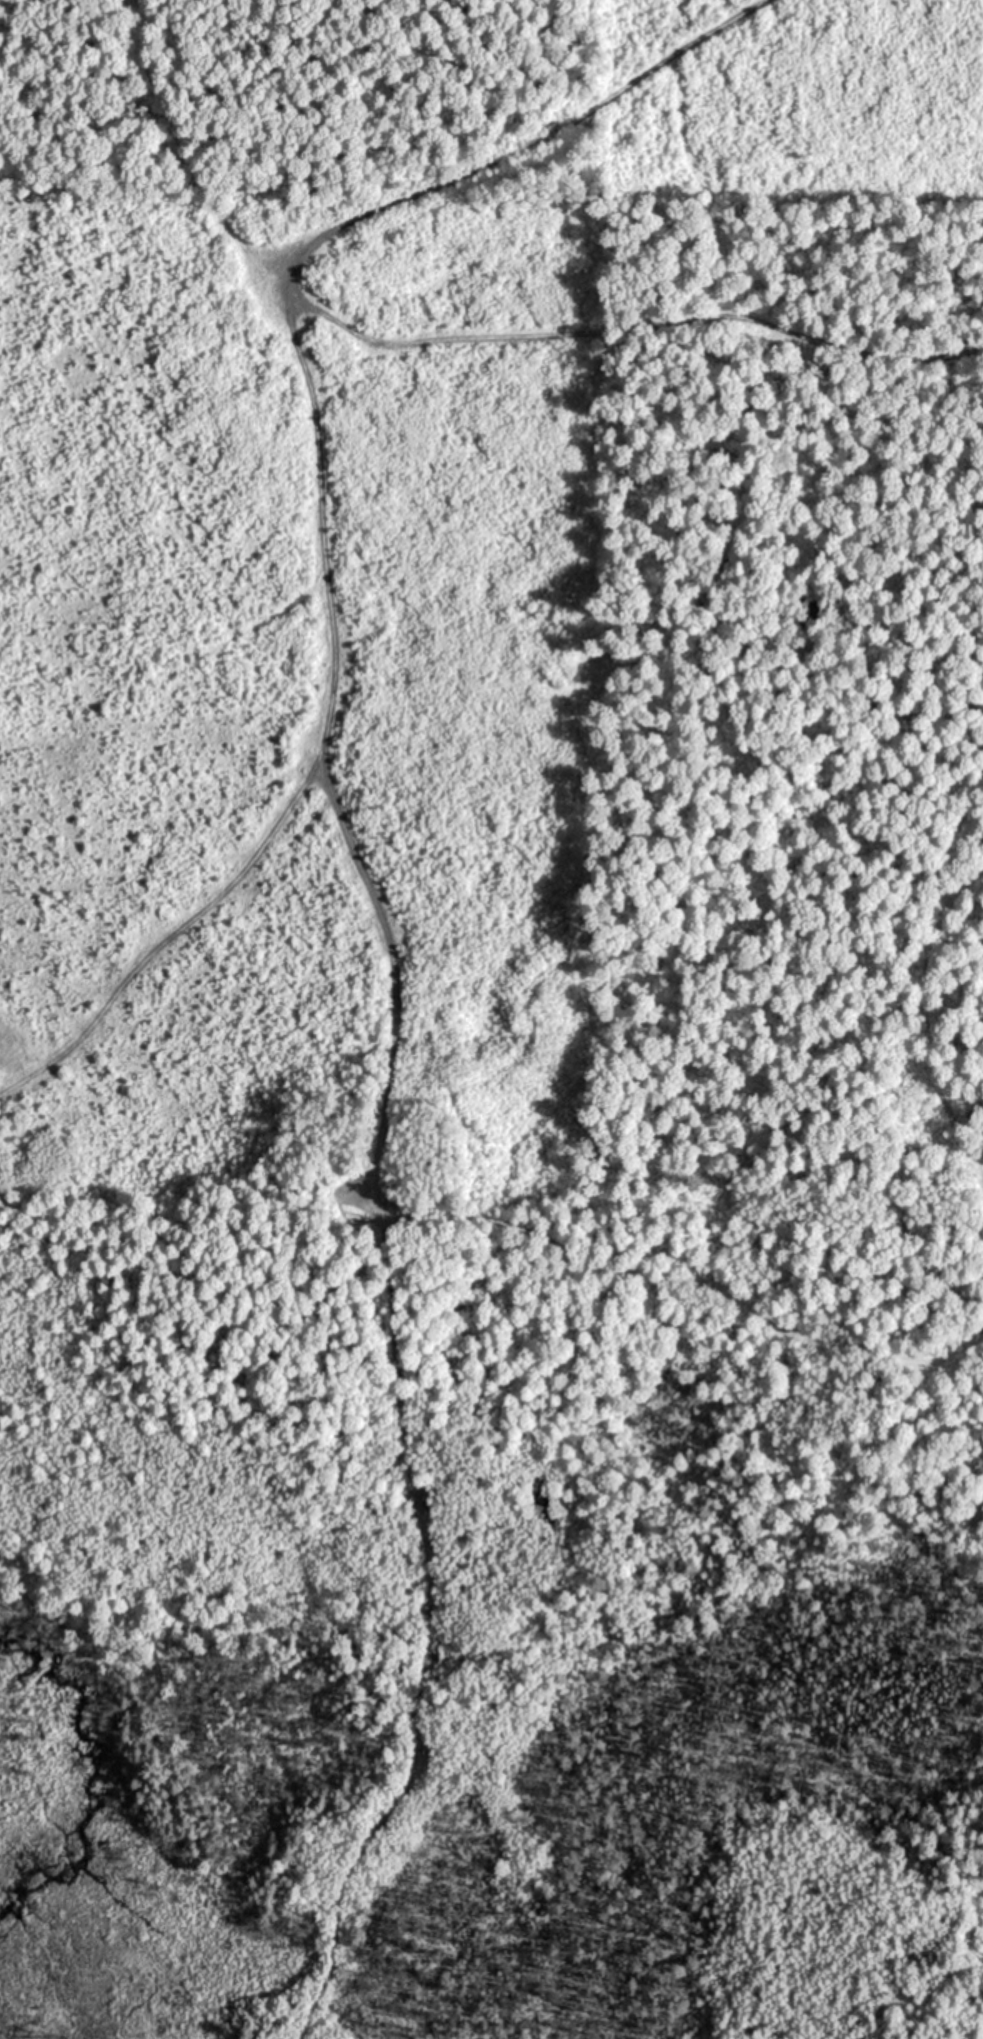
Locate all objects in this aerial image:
road: (181, 159)
road: (315, 479)
road: (472, 1221)
road: (426, 1632)

